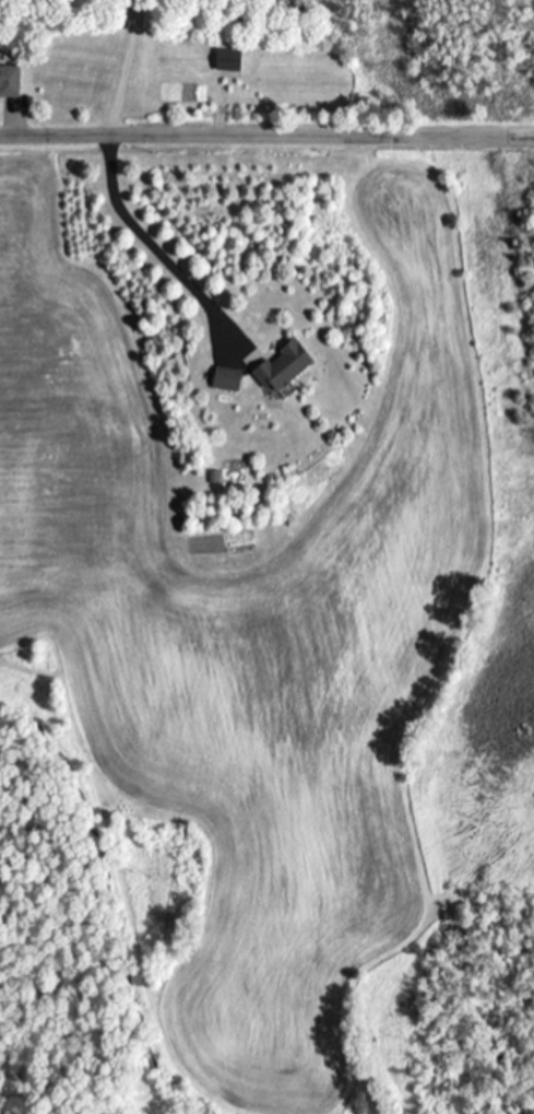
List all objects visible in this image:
building: (233, 61)
building: (11, 82)
road: (266, 138)
road: (112, 190)
building: (287, 366)
building: (229, 379)

